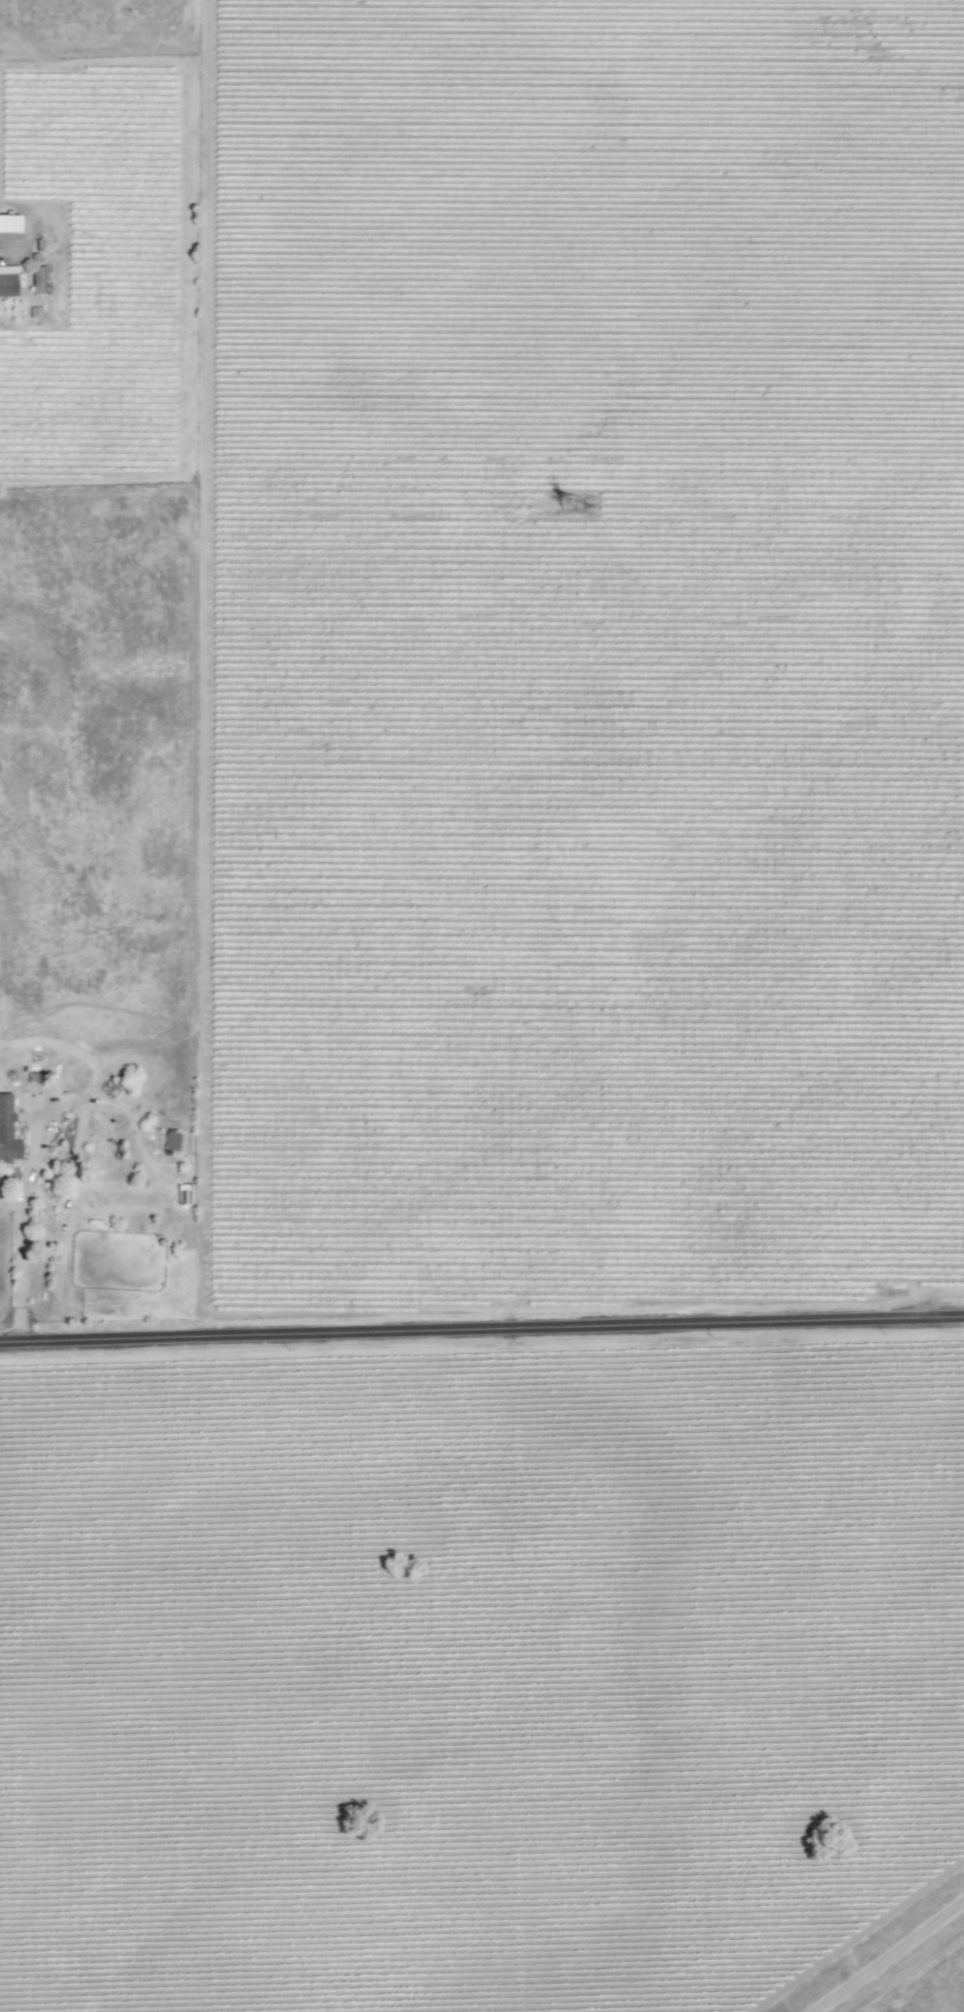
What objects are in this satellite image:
building: (9, 224)
building: (10, 280)
power tower: (584, 508)
building: (7, 1131)
road: (22, 1230)
road: (481, 1329)
road: (887, 1955)

